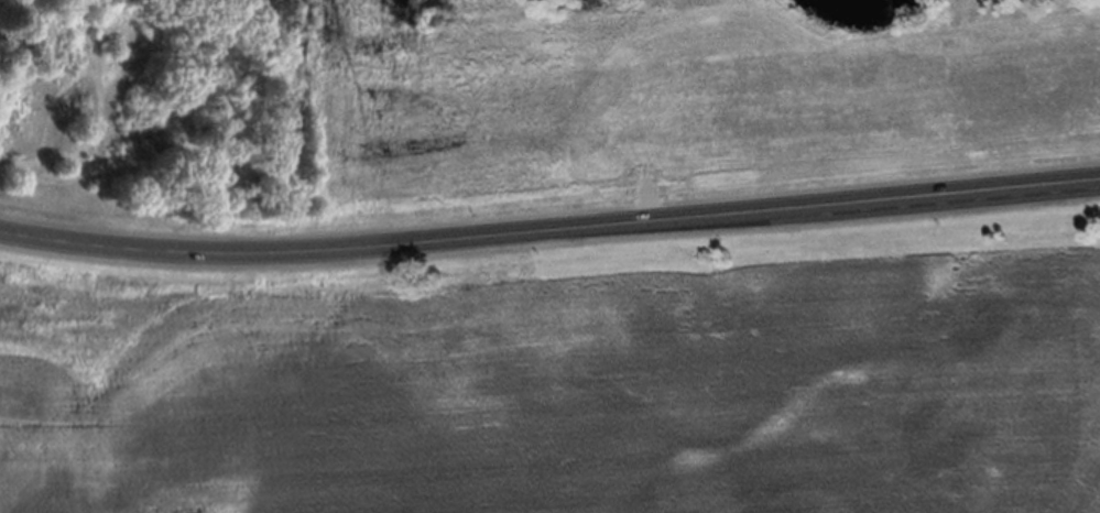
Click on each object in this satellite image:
road: (549, 239)

